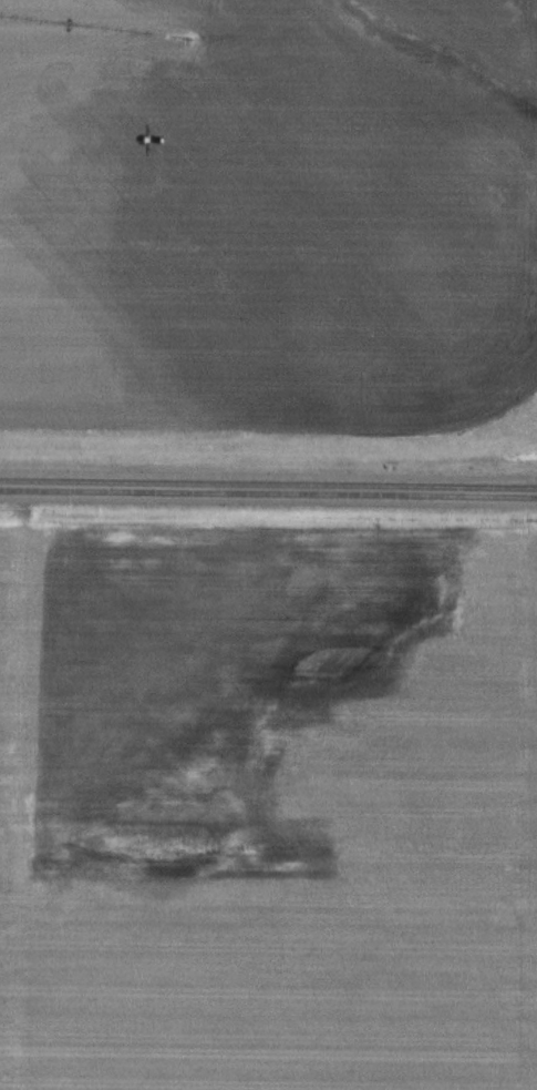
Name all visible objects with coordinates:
road: (268, 488)

